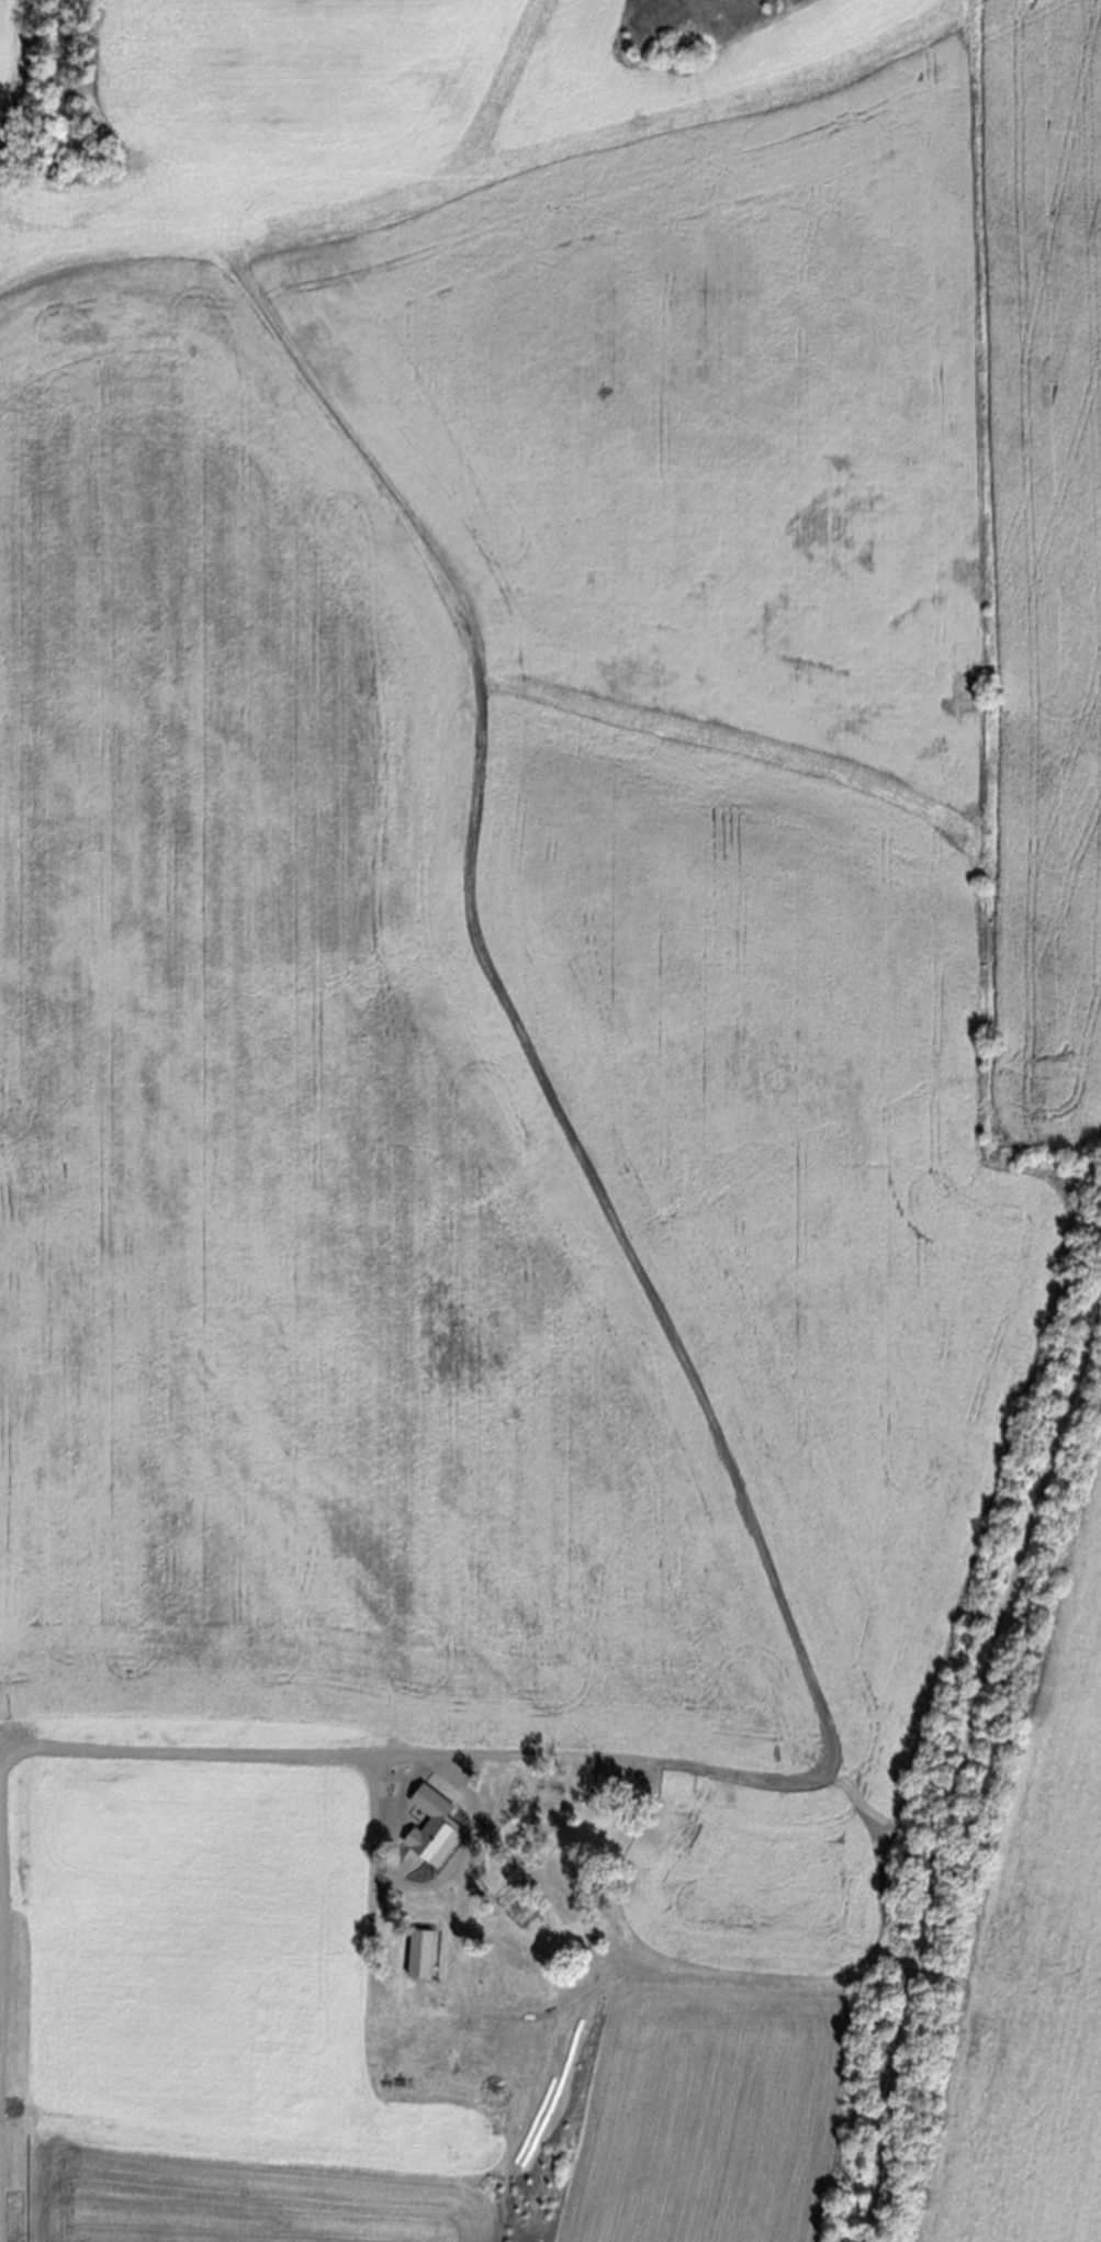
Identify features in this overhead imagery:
road: (964, 1774)
building: (569, 1874)
building: (442, 1963)
road: (541, 2103)

